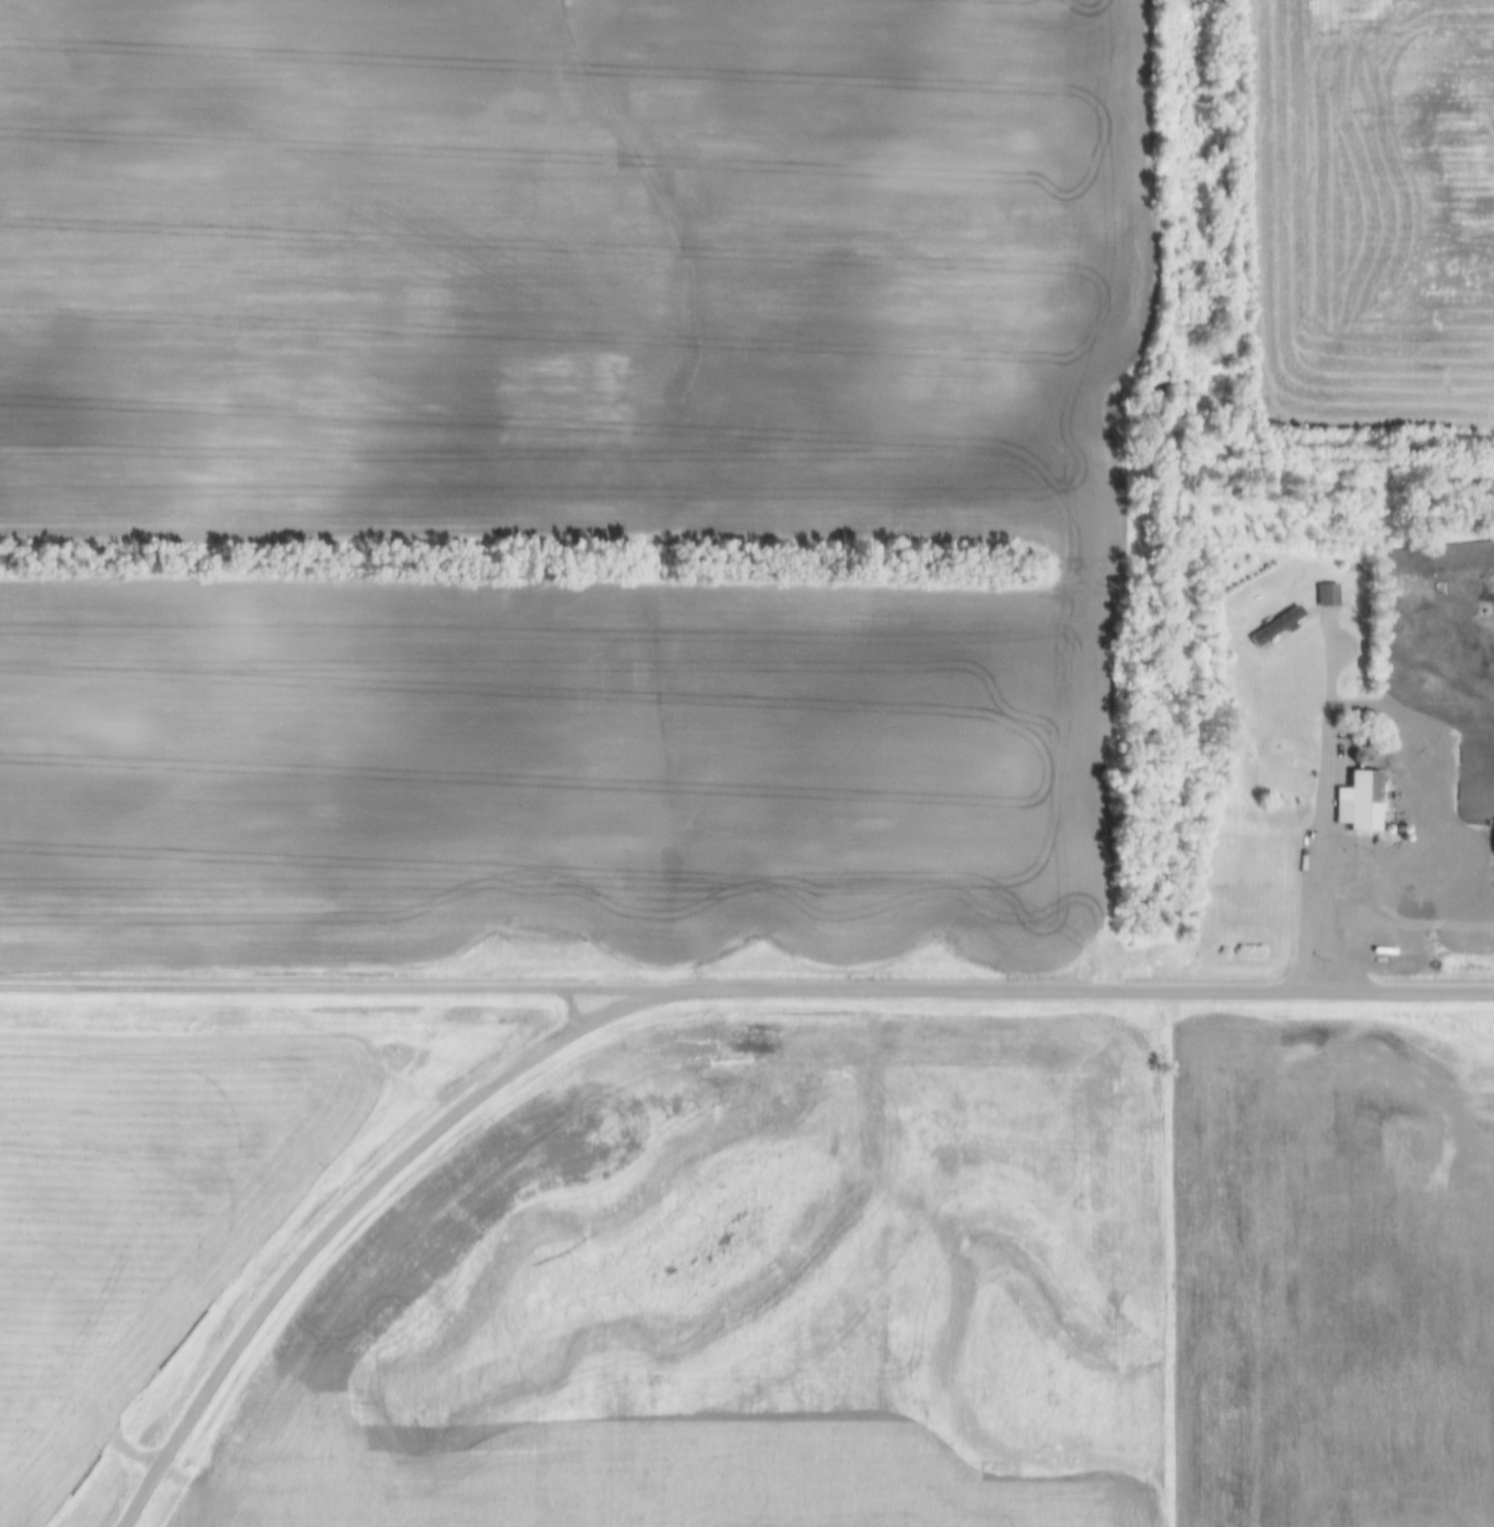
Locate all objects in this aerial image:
building: (1324, 594)
building: (1273, 625)
building: (1353, 755)
silo: (1353, 755)
building: (1356, 801)
building: (1492, 842)
road: (1304, 892)
road: (342, 986)
road: (689, 989)

